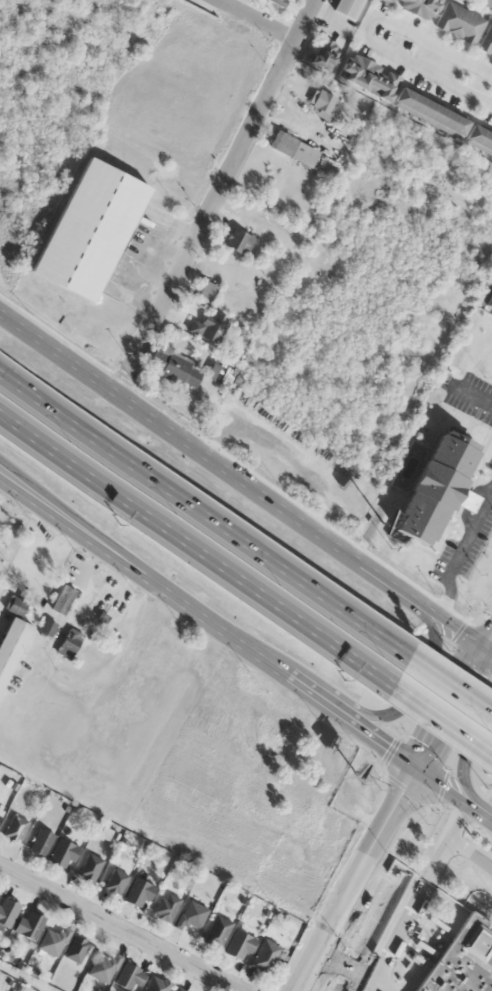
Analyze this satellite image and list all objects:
building: (275, 2)
building: (486, 4)
building: (348, 8)
road: (261, 18)
building: (447, 19)
road: (423, 38)
building: (324, 53)
road: (437, 60)
road: (428, 69)
building: (323, 101)
building: (407, 101)
building: (293, 148)
road: (214, 193)
building: (252, 215)
building: (87, 228)
building: (238, 240)
building: (206, 289)
building: (487, 300)
building: (212, 325)
building: (175, 366)
road: (474, 396)
road: (245, 478)
building: (434, 486)
road: (206, 510)
road: (89, 531)
road: (461, 549)
road: (195, 557)
building: (111, 596)
building: (62, 599)
building: (14, 605)
building: (47, 627)
building: (11, 643)
building: (69, 643)
traffic signals: (491, 647)
road: (245, 648)
road: (452, 678)
road: (412, 684)
road: (457, 709)
road: (443, 724)
road: (463, 758)
traffic signals: (422, 774)
building: (0, 810)
building: (14, 828)
building: (40, 841)
building: (62, 853)
building: (89, 867)
building: (115, 881)
road: (361, 882)
building: (137, 892)
building: (166, 906)
building: (7, 911)
building: (28, 924)
road: (121, 926)
building: (216, 931)
building: (239, 945)
building: (75, 949)
building: (264, 956)
building: (462, 960)
building: (102, 967)
building: (129, 977)
building: (157, 985)
building: (178, 989)

